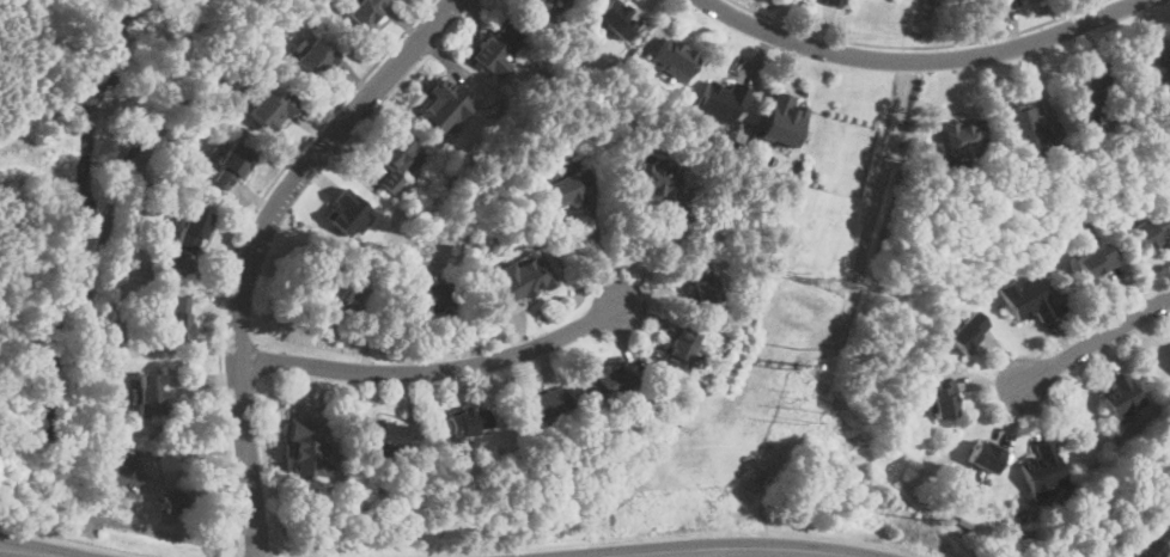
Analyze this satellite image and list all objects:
building: (552, 1)
building: (1011, 1)
building: (831, 2)
building: (364, 12)
building: (611, 19)
road: (920, 48)
building: (495, 49)
building: (672, 57)
building: (1156, 57)
building: (313, 59)
road: (924, 62)
building: (1089, 92)
building: (720, 102)
building: (443, 108)
building: (267, 111)
building: (782, 118)
building: (1026, 123)
building: (961, 137)
building: (395, 151)
building: (228, 167)
building: (657, 184)
building: (566, 186)
building: (348, 213)
building: (189, 229)
building: (1148, 229)
road: (243, 233)
road: (105, 239)
road: (257, 245)
road: (603, 252)
road: (659, 256)
building: (1093, 261)
building: (520, 280)
power tower: (805, 280)
building: (701, 283)
power tower: (839, 286)
building: (336, 290)
building: (433, 295)
building: (1025, 298)
building: (176, 317)
road: (1103, 318)
building: (968, 332)
road: (1093, 338)
building: (678, 348)
power tower: (797, 371)
road: (431, 373)
building: (607, 385)
building: (148, 394)
building: (1119, 397)
building: (943, 399)
building: (544, 402)
building: (465, 422)
power tower: (798, 423)
building: (383, 431)
building: (305, 449)
building: (983, 457)
building: (1042, 471)
parking lot: (152, 475)
building: (177, 504)
power tower: (919, 518)
road: (73, 543)
road: (240, 544)
road: (736, 549)
building: (1148, 549)
road: (18, 553)

